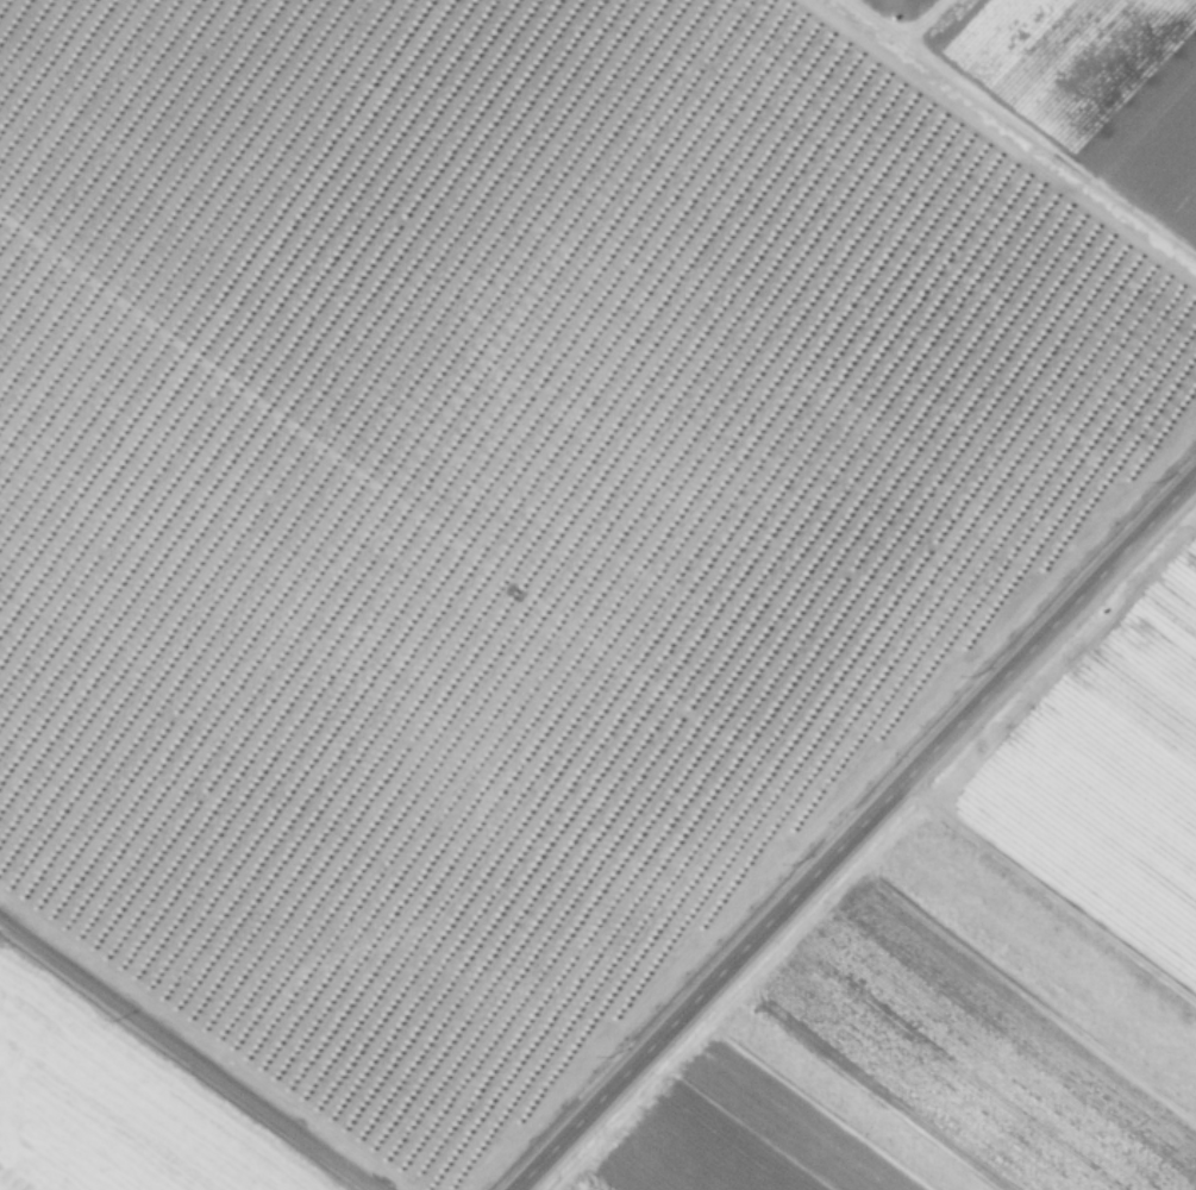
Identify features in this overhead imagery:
crop: (518, 519)
road: (854, 832)
crop: (982, 967)
road: (187, 1054)

